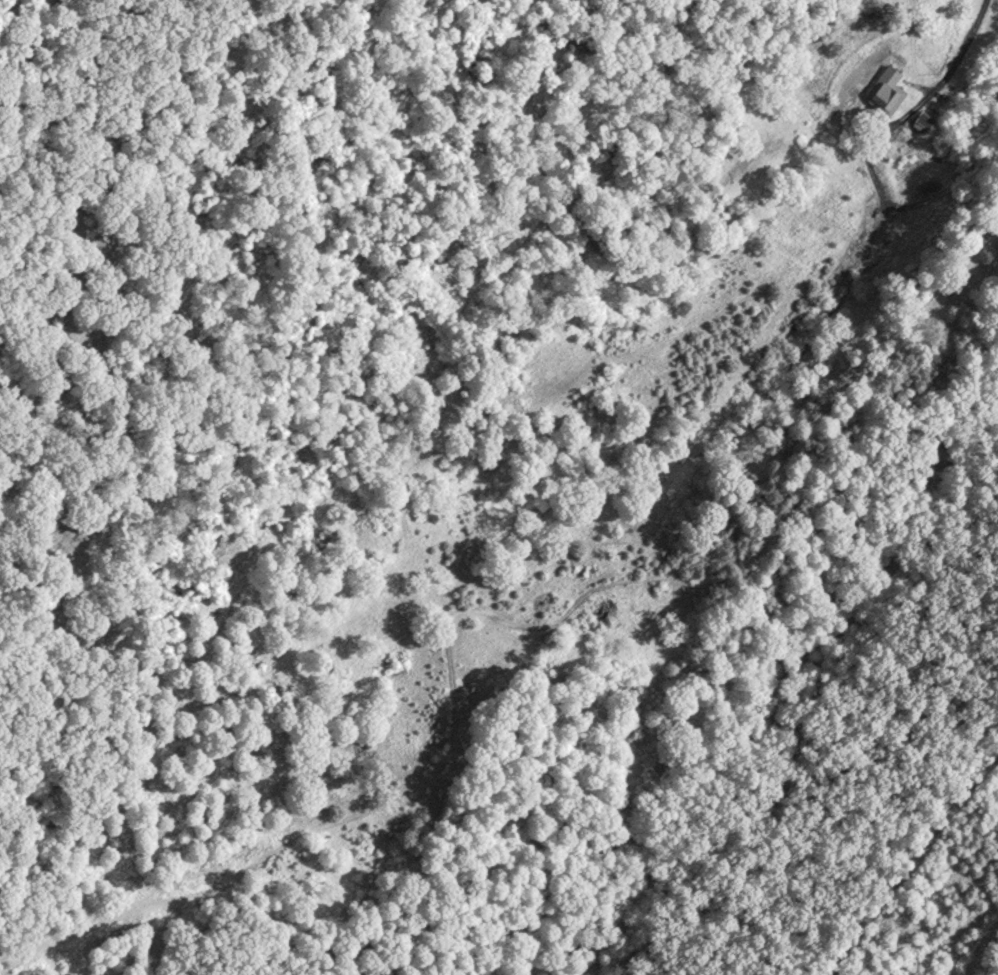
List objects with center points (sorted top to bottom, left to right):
building: (892, 93)
building: (926, 125)
road: (826, 394)

